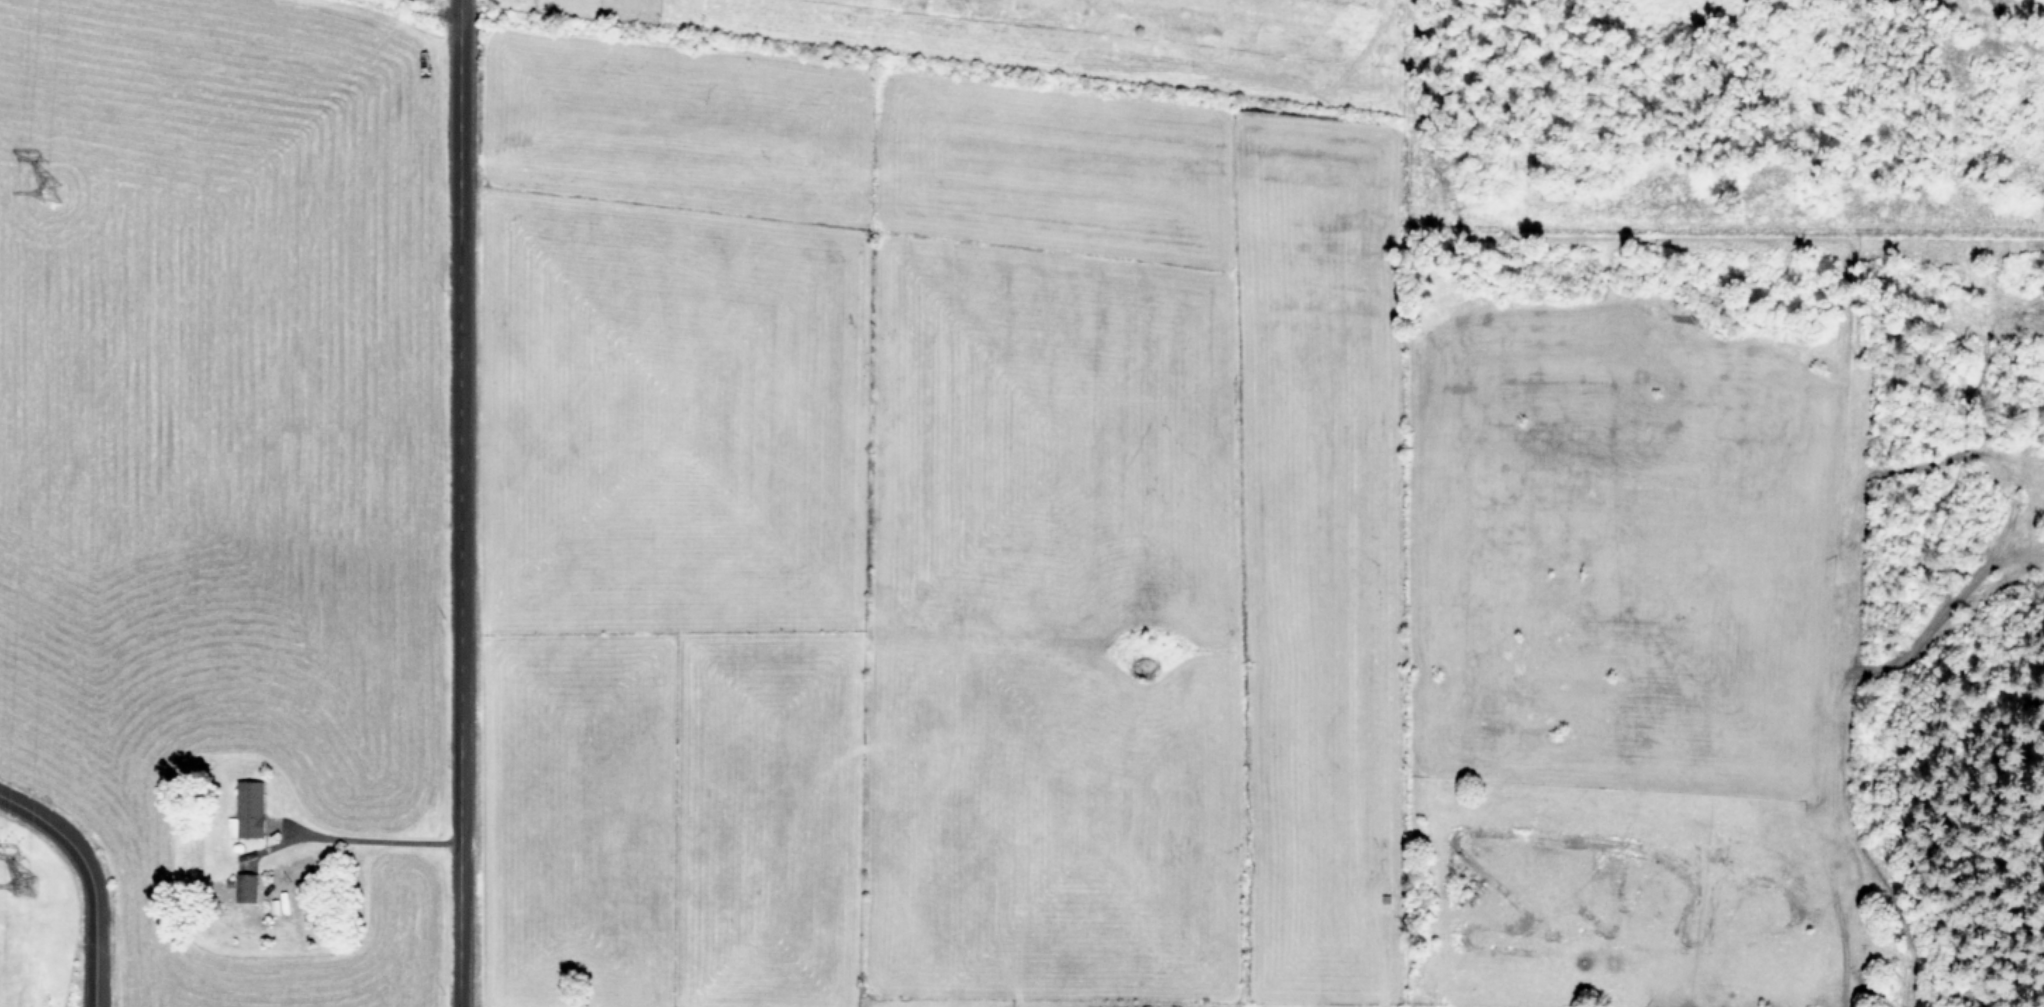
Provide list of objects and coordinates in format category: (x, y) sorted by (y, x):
crop: (2014, 5)
power tower: (54, 208)
crop: (212, 502)
road: (452, 503)
crop: (1052, 555)
building: (247, 808)
road: (365, 838)
road: (91, 878)
building: (246, 886)
power tower: (29, 900)

